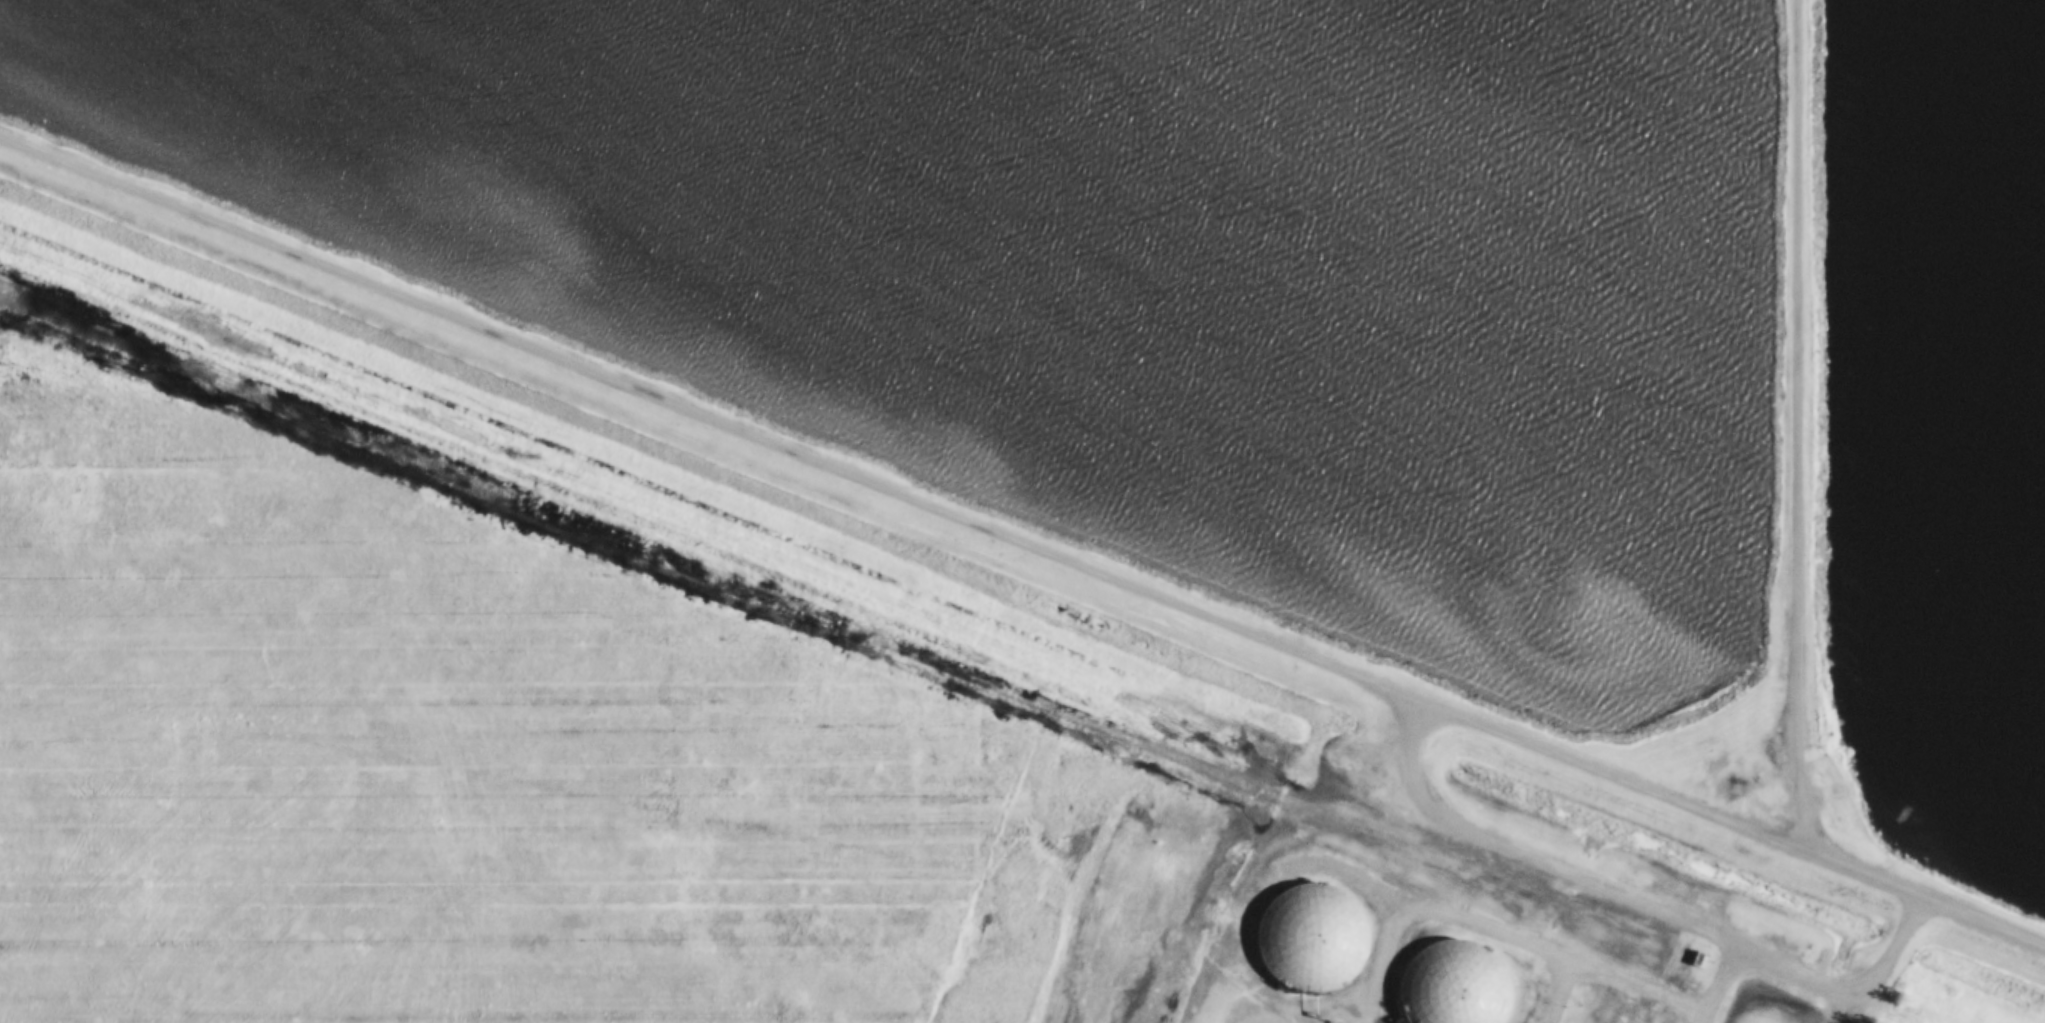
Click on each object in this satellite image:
road: (1802, 425)
road: (1022, 543)
road: (1416, 771)
road: (1645, 903)
wastewater plant: (1387, 915)
building: (1304, 938)
road: (1889, 957)
road: (1723, 983)
building: (1451, 984)

